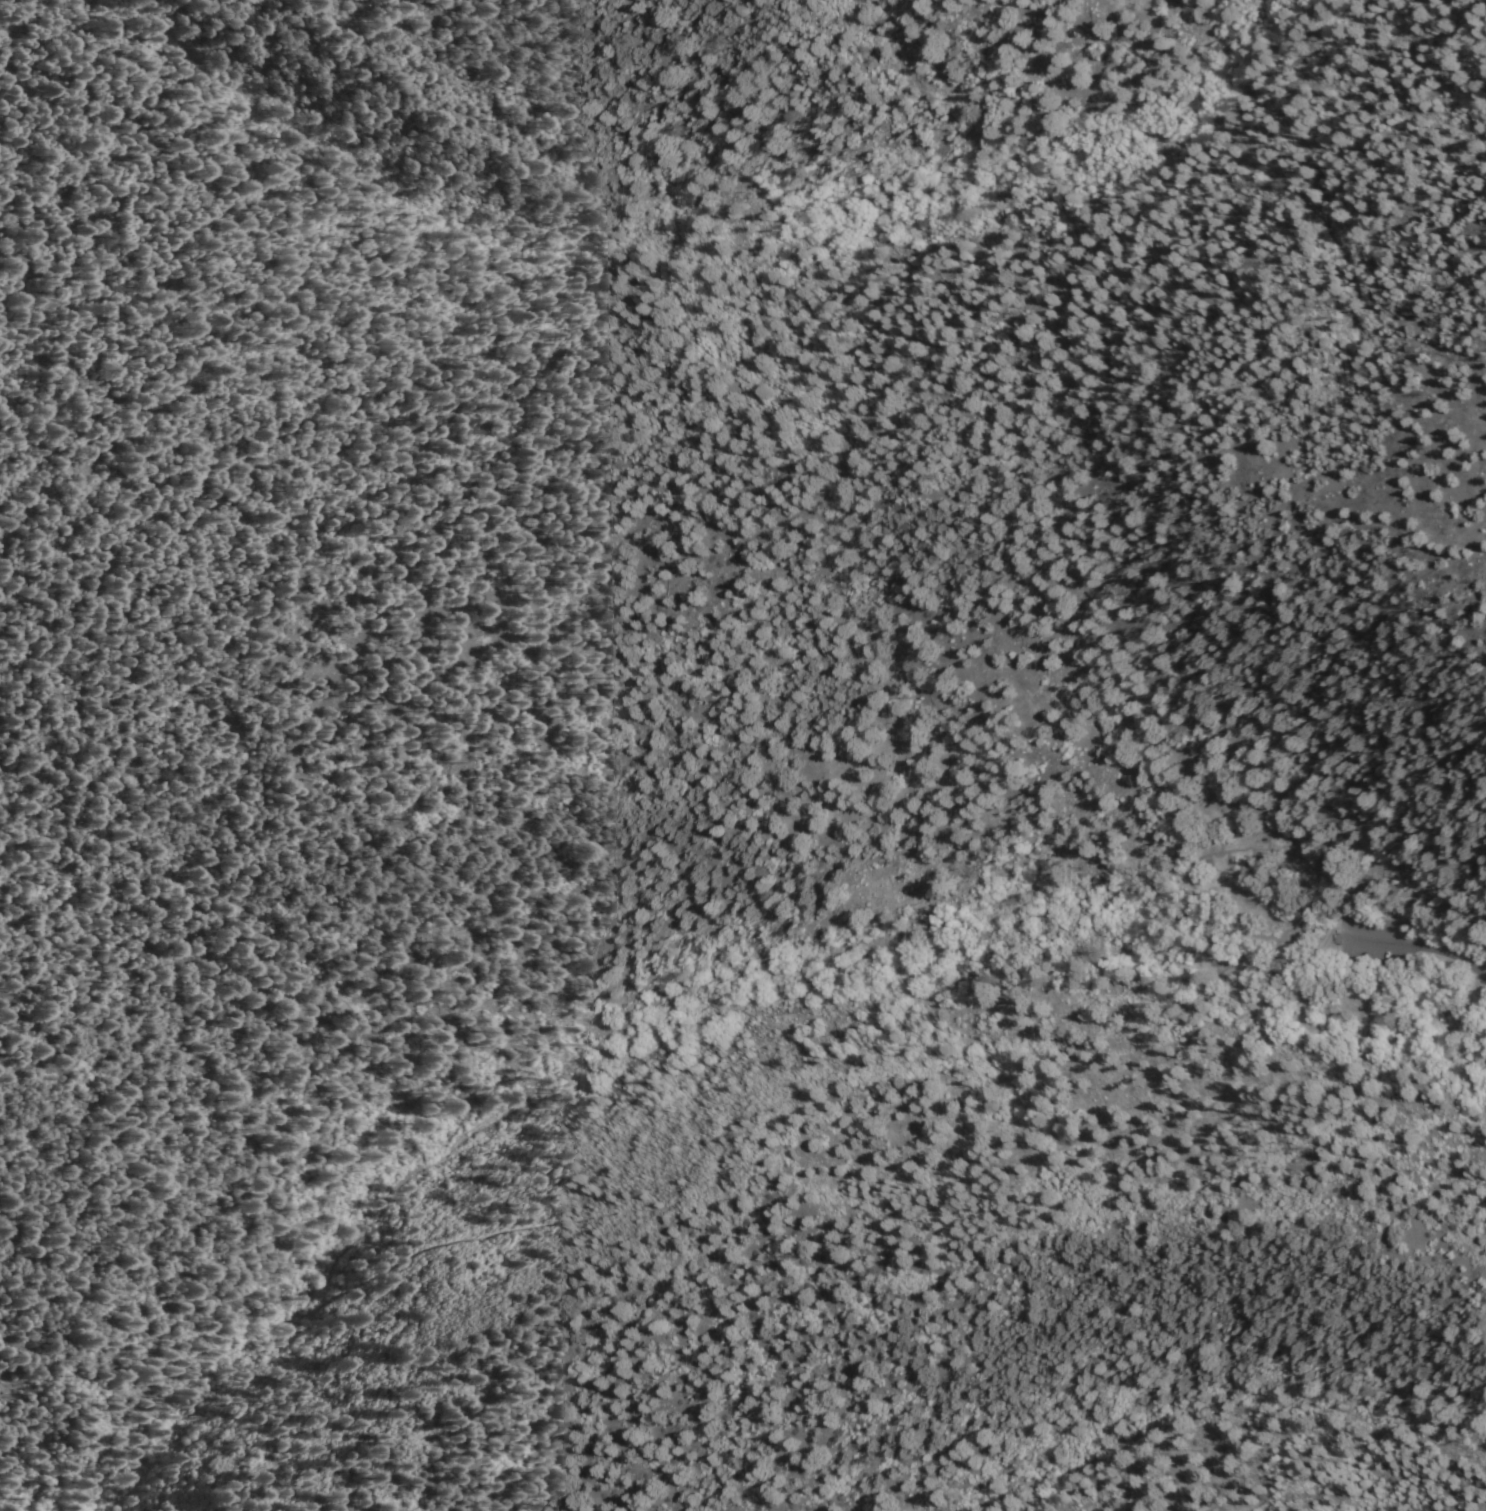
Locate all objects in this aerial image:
road: (903, 83)
road: (1035, 122)
road: (1255, 337)
road: (629, 840)
road: (1045, 848)
road: (1191, 878)
road: (1434, 905)
road: (1393, 912)
road: (1395, 928)
parking lot: (1374, 936)
road: (1418, 941)
road: (1278, 943)
road: (839, 949)
road: (1275, 952)
road: (1246, 958)
road: (535, 1093)
road: (156, 1446)

